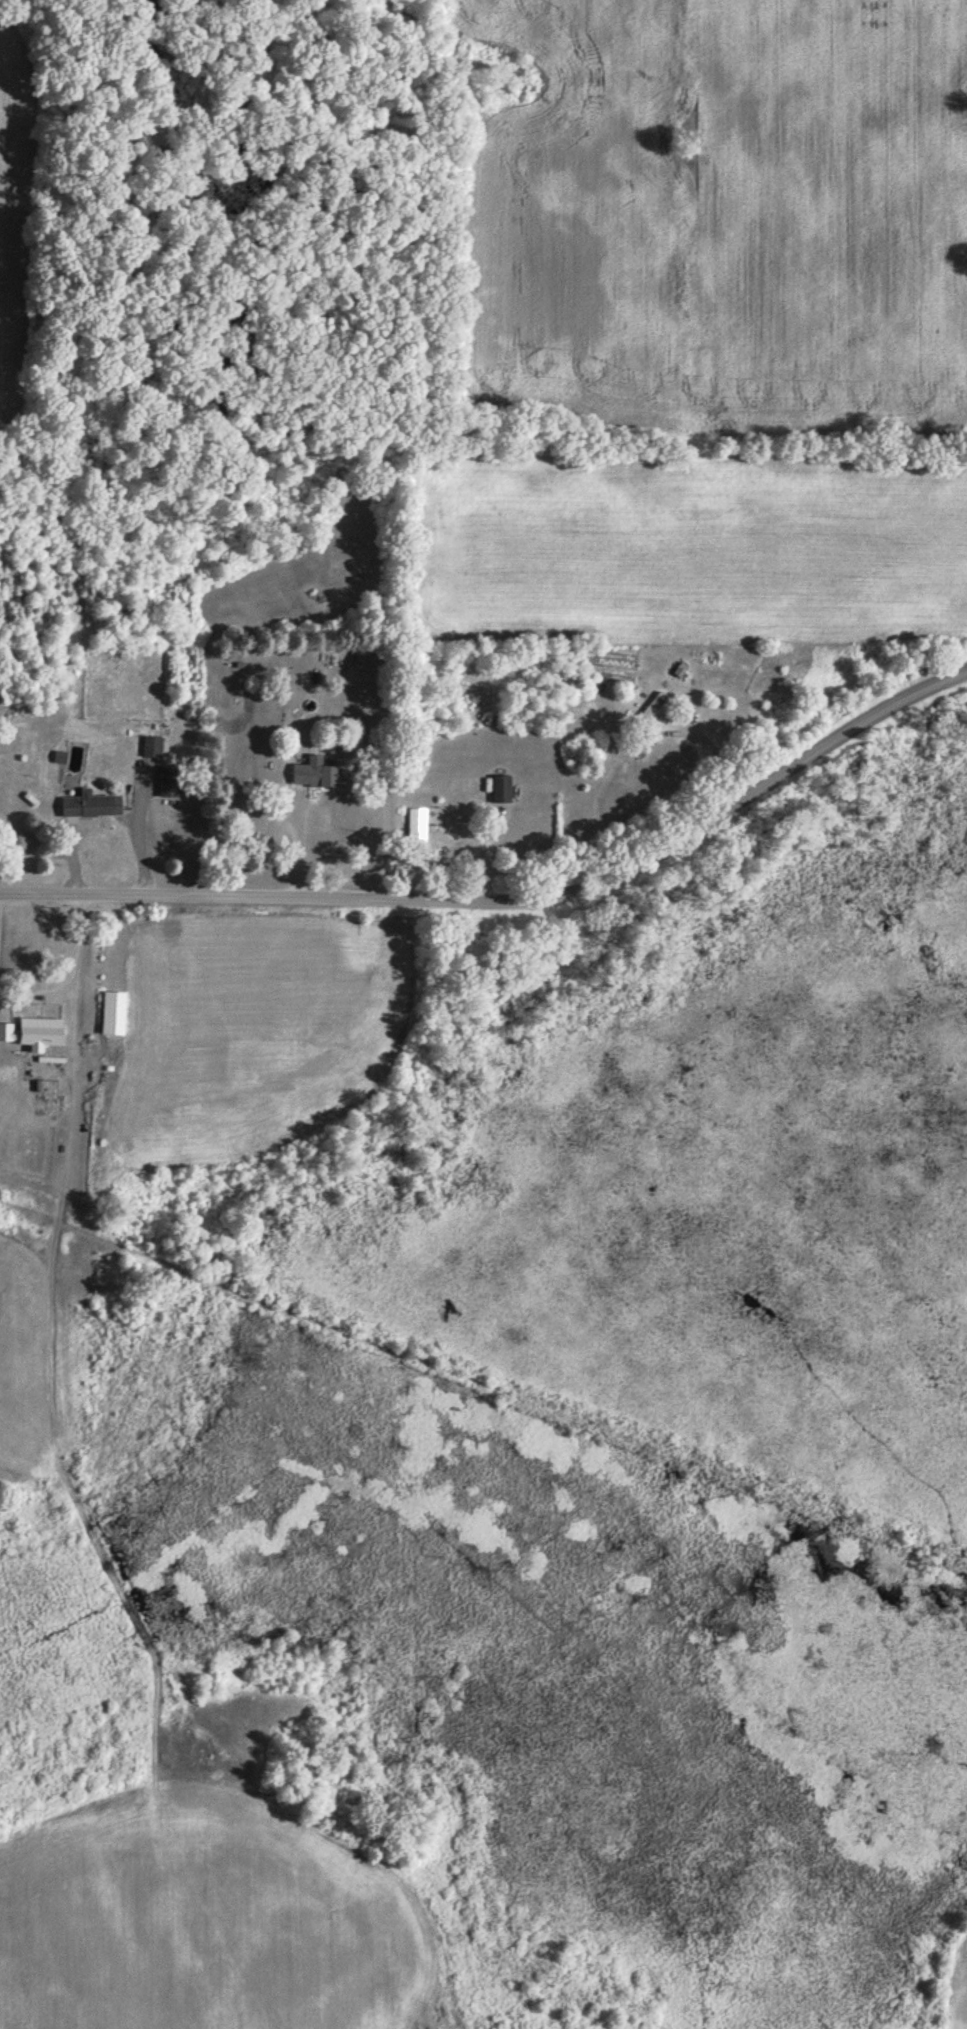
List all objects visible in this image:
building: (656, 706)
building: (155, 745)
building: (316, 772)
building: (170, 780)
building: (501, 786)
building: (92, 804)
building: (418, 823)
road: (513, 902)
building: (114, 1012)
building: (35, 1032)

